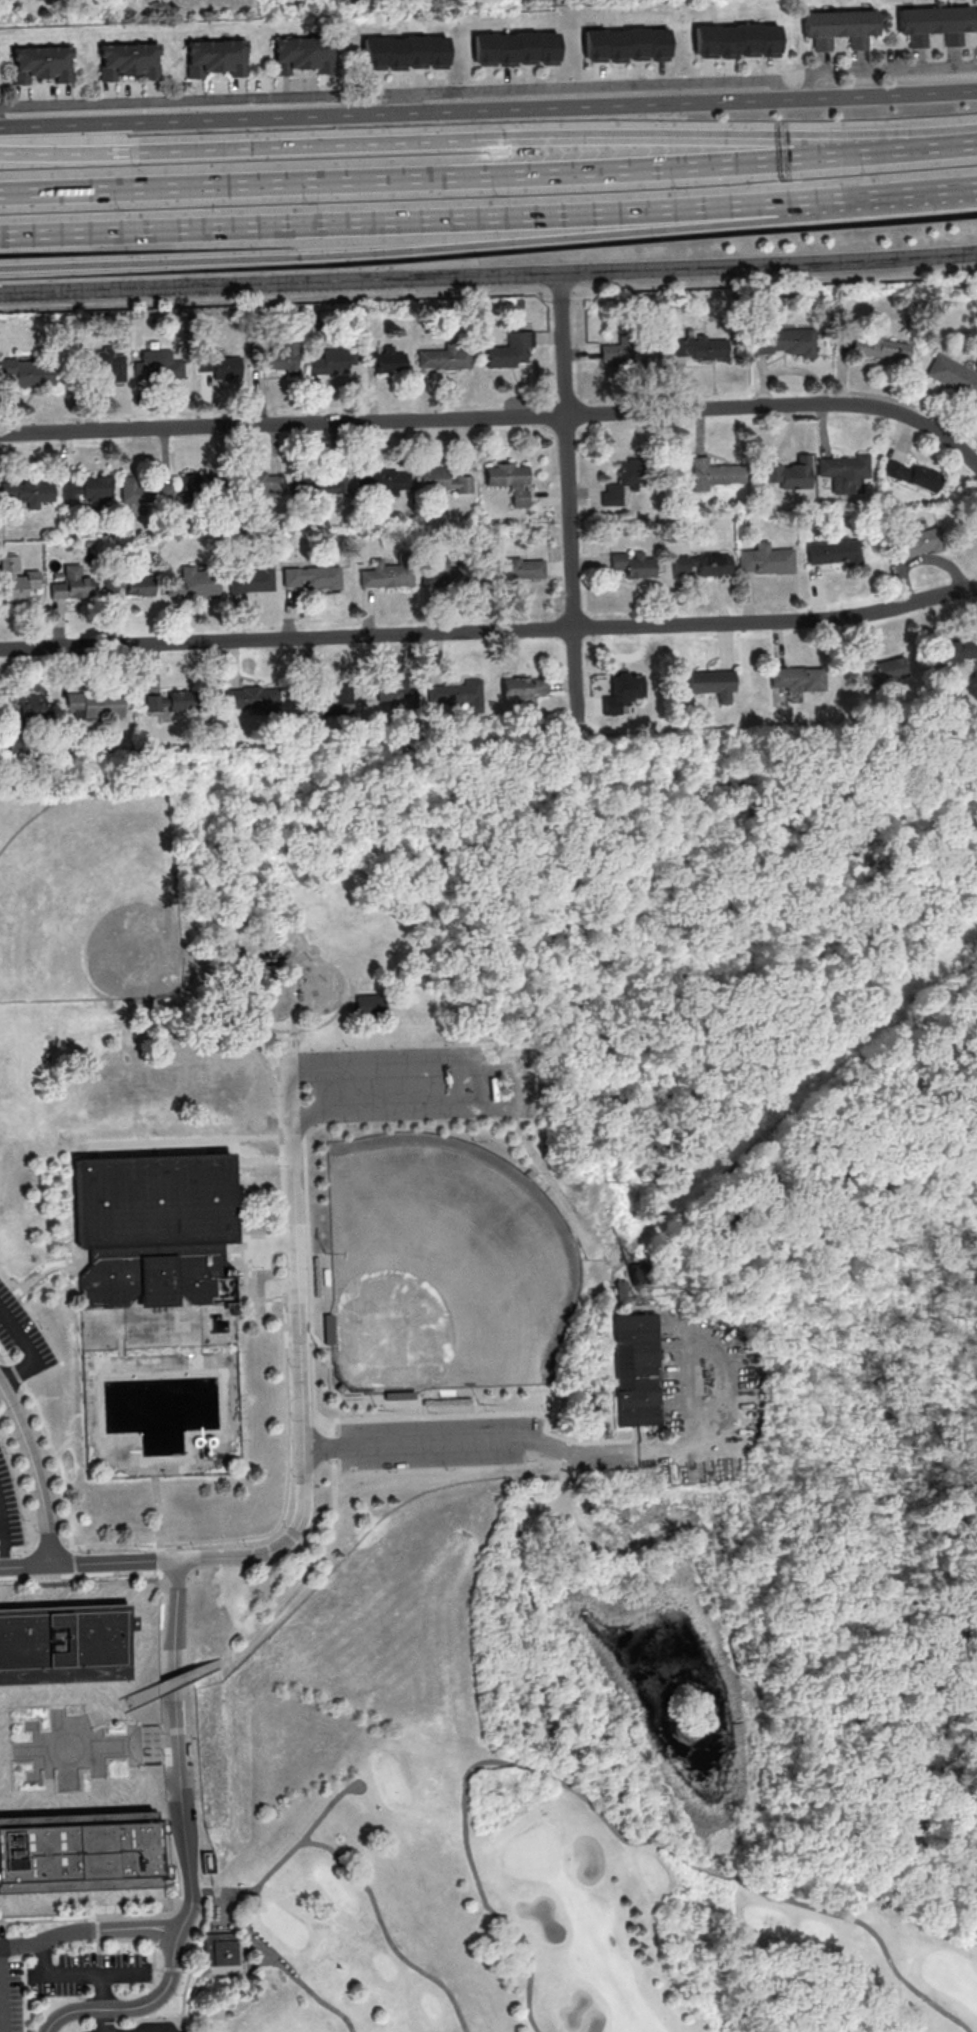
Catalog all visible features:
building: (936, 24)
building: (840, 28)
building: (736, 41)
building: (626, 45)
building: (516, 48)
building: (405, 53)
building: (303, 55)
building: (216, 58)
building: (130, 61)
building: (42, 64)
road: (881, 68)
road: (590, 86)
road: (202, 100)
road: (488, 112)
road: (488, 139)
road: (947, 146)
road: (458, 176)
road: (921, 191)
road: (830, 199)
road: (398, 221)
road: (434, 249)
road: (488, 275)
road: (488, 291)
building: (784, 342)
road: (564, 343)
building: (701, 347)
building: (883, 350)
building: (511, 351)
building: (626, 353)
building: (280, 358)
building: (445, 359)
building: (386, 360)
building: (331, 361)
building: (159, 365)
building: (220, 366)
building: (106, 367)
building: (29, 371)
building: (953, 378)
road: (498, 416)
building: (845, 472)
building: (715, 474)
building: (790, 474)
building: (912, 475)
building: (383, 481)
building: (443, 481)
building: (510, 481)
building: (621, 483)
building: (262, 485)
building: (321, 485)
building: (89, 488)
building: (196, 489)
building: (147, 491)
building: (28, 492)
building: (916, 544)
building: (835, 551)
building: (766, 560)
building: (635, 564)
building: (701, 564)
road: (572, 567)
building: (518, 568)
building: (387, 575)
building: (450, 575)
building: (251, 578)
building: (312, 578)
building: (18, 580)
building: (196, 582)
building: (73, 584)
building: (131, 585)
road: (490, 632)
building: (956, 650)
building: (884, 671)
building: (797, 680)
building: (713, 683)
building: (525, 687)
building: (391, 691)
building: (623, 692)
building: (460, 693)
building: (255, 699)
building: (171, 701)
building: (330, 702)
building: (95, 705)
building: (31, 706)
building: (20, 742)
building: (882, 777)
road: (502, 849)
park: (92, 902)
road: (283, 912)
road: (706, 927)
road: (205, 955)
road: (283, 997)
building: (371, 1007)
road: (211, 1008)
building: (218, 1031)
parking lot: (418, 1084)
road: (510, 1086)
road: (789, 1095)
building: (123, 1099)
road: (181, 1109)
road: (185, 1142)
road: (553, 1146)
road: (537, 1148)
road: (210, 1149)
road: (262, 1162)
road: (559, 1194)
building: (156, 1231)
stadium: (156, 1231)
road: (263, 1268)
park: (443, 1268)
building: (638, 1274)
road: (39, 1276)
park: (488, 1288)
building: (622, 1292)
road: (753, 1298)
park: (217, 1322)
building: (327, 1328)
parking lot: (23, 1335)
road: (28, 1352)
building: (639, 1371)
building: (398, 1395)
stadium: (446, 1395)
parking lot: (437, 1444)
road: (305, 1450)
road: (51, 1452)
road: (633, 1453)
road: (35, 1474)
road: (288, 1503)
parking lot: (9, 1517)
road: (158, 1519)
road: (1, 1549)
road: (858, 1557)
road: (320, 1560)
road: (88, 1574)
building: (67, 1646)
road: (562, 1659)
road: (747, 1673)
road: (177, 1686)
road: (109, 1713)
road: (156, 1723)
road: (85, 1741)
road: (168, 1743)
parking lot: (143, 1744)
road: (457, 1778)
road: (961, 1810)
road: (194, 1836)
road: (295, 1850)
building: (82, 1853)
park: (500, 1855)
road: (714, 1873)
road: (207, 1891)
road: (99, 1916)
road: (101, 1916)
road: (221, 1923)
road: (98, 1928)
road: (869, 1928)
road: (387, 1932)
road: (143, 1933)
road: (100, 1946)
building: (219, 1949)
road: (160, 1969)
parking lot: (83, 1973)
road: (77, 1974)
road: (210, 1976)
road: (303, 1986)
road: (1, 1989)
parking lot: (10, 1990)
road: (102, 2003)
road: (144, 2006)

